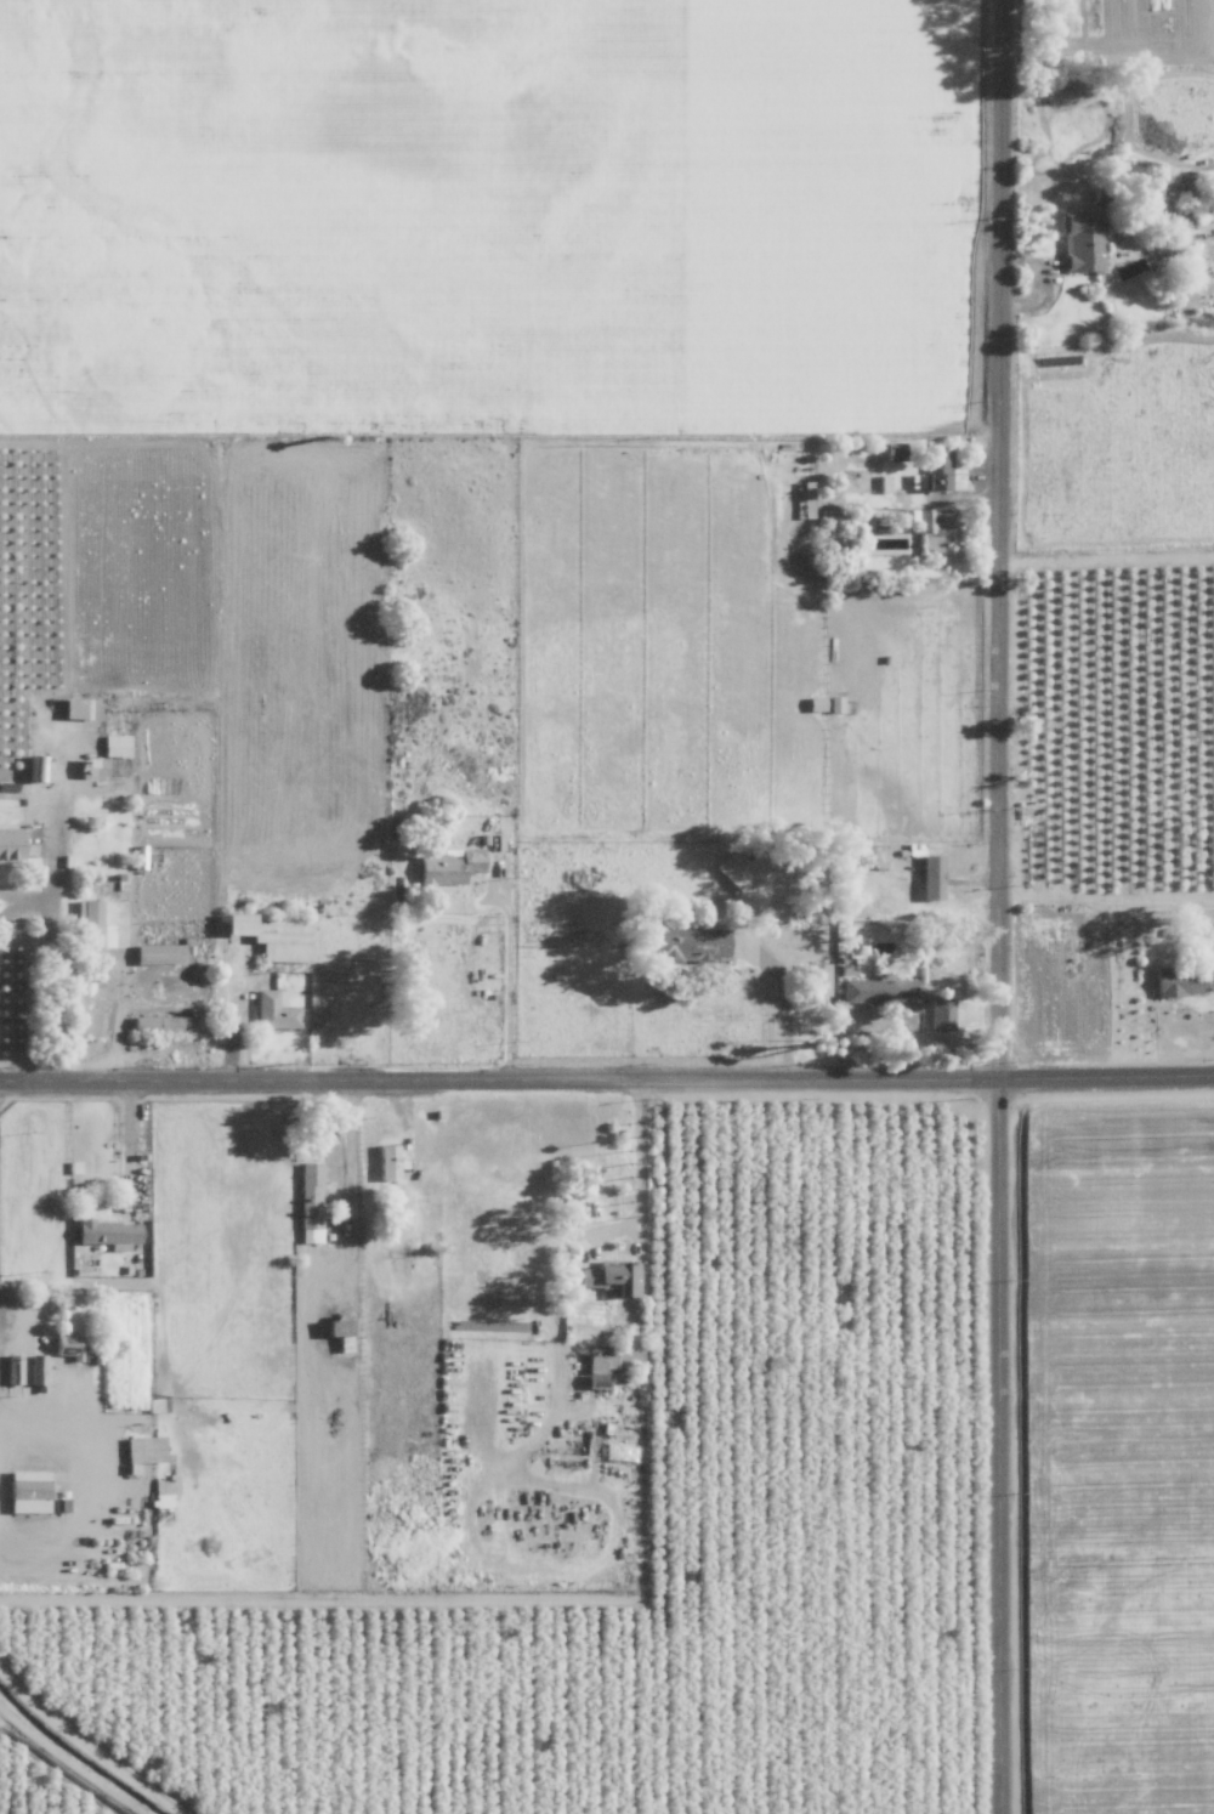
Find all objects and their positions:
building: (1082, 240)
crop: (438, 262)
building: (915, 481)
building: (924, 518)
building: (942, 538)
building: (80, 708)
building: (115, 746)
building: (93, 767)
building: (35, 769)
building: (11, 845)
building: (449, 867)
building: (741, 869)
building: (931, 877)
road: (999, 907)
road: (49, 908)
building: (92, 926)
building: (273, 934)
building: (160, 953)
building: (818, 979)
building: (879, 992)
road: (785, 999)
building: (274, 1010)
building: (941, 1014)
building: (168, 1022)
road: (607, 1084)
building: (388, 1162)
road: (636, 1174)
road: (353, 1189)
building: (310, 1202)
building: (108, 1234)
building: (613, 1277)
building: (600, 1364)

